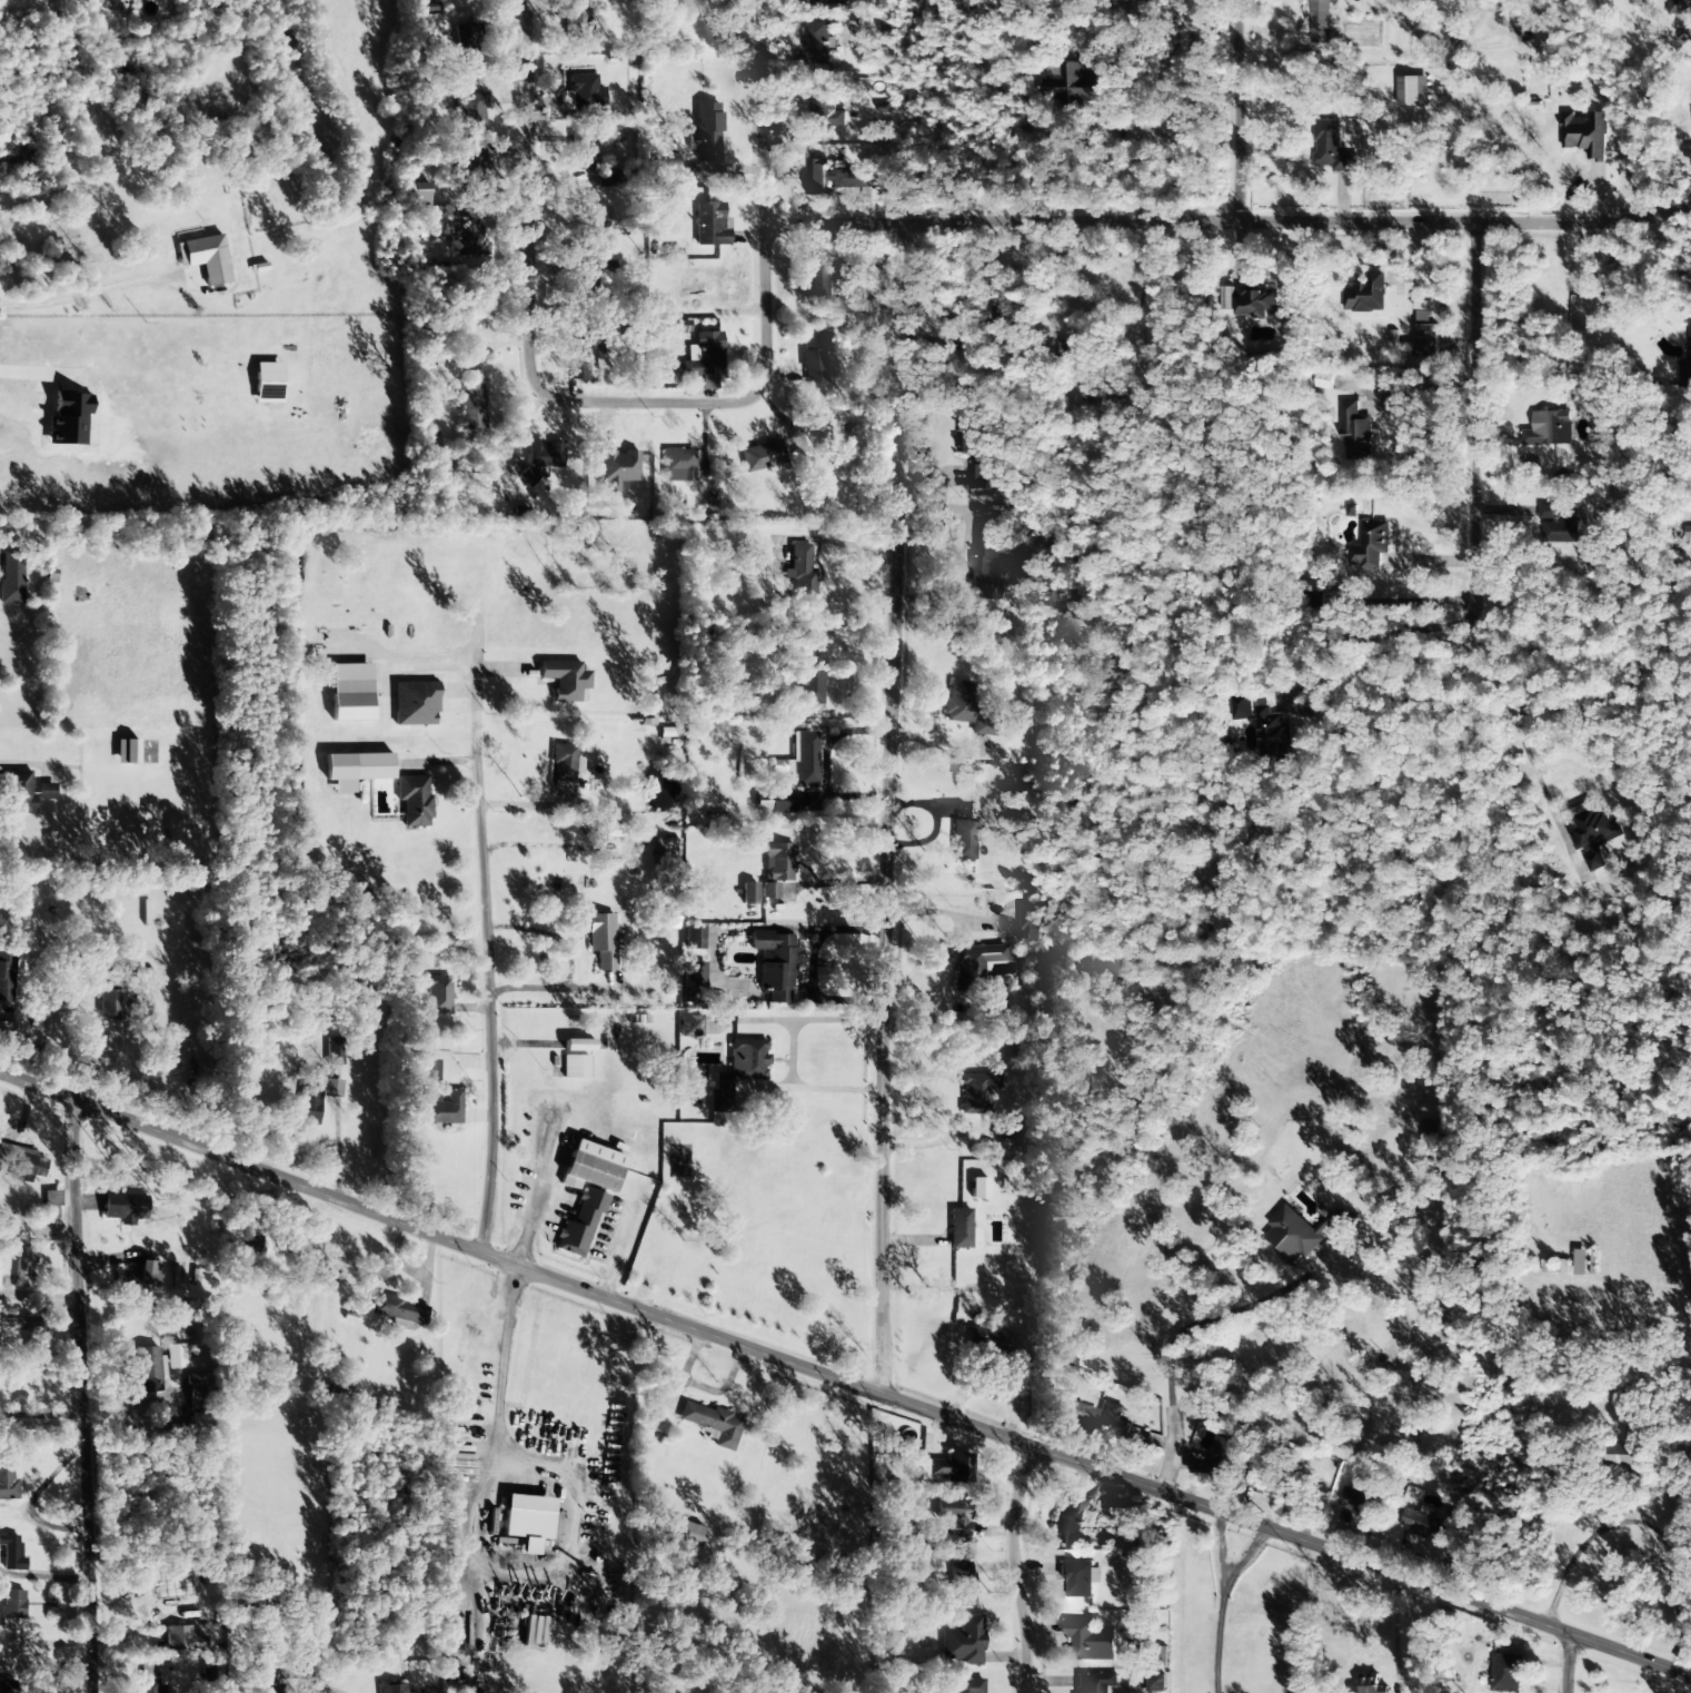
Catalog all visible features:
building: (118, 1)
building: (813, 2)
building: (1634, 2)
building: (1679, 7)
building: (1138, 8)
building: (1320, 23)
building: (577, 26)
building: (816, 43)
building: (467, 44)
building: (1073, 87)
building: (1412, 91)
building: (825, 109)
road: (1266, 109)
building: (470, 113)
road: (756, 113)
building: (706, 132)
building: (1584, 135)
building: (1331, 148)
building: (581, 152)
building: (667, 165)
building: (471, 169)
building: (817, 177)
building: (607, 179)
building: (852, 179)
road: (1226, 218)
building: (710, 225)
building: (205, 258)
road: (93, 291)
building: (1366, 295)
building: (1226, 298)
building: (1256, 301)
building: (1006, 310)
building: (675, 326)
building: (1423, 338)
building: (699, 357)
building: (813, 358)
building: (1685, 366)
building: (267, 383)
road: (530, 389)
building: (470, 402)
road: (1473, 407)
building: (69, 419)
building: (1549, 429)
building: (1355, 432)
building: (966, 436)
building: (544, 454)
building: (762, 456)
building: (677, 466)
building: (616, 468)
building: (527, 476)
building: (977, 476)
building: (1559, 522)
building: (1370, 545)
building: (985, 563)
building: (799, 575)
building: (11, 577)
building: (1314, 586)
building: (565, 680)
building: (808, 685)
building: (350, 692)
building: (957, 702)
building: (415, 703)
building: (1239, 707)
building: (984, 725)
building: (1271, 734)
building: (126, 751)
building: (805, 761)
building: (564, 763)
building: (358, 766)
building: (20, 790)
building: (44, 791)
building: (414, 801)
building: (773, 802)
road: (892, 808)
building: (609, 831)
building: (1595, 834)
building: (962, 840)
building: (664, 849)
building: (776, 867)
building: (748, 893)
building: (1028, 922)
building: (694, 938)
building: (603, 940)
road: (485, 957)
building: (774, 964)
building: (972, 964)
building: (7, 973)
building: (693, 981)
building: (437, 994)
building: (109, 1003)
building: (688, 1026)
building: (578, 1044)
building: (335, 1052)
road: (792, 1055)
building: (575, 1067)
building: (429, 1070)
building: (738, 1071)
building: (697, 1072)
building: (332, 1088)
building: (976, 1092)
building: (306, 1106)
building: (438, 1108)
building: (1004, 1130)
building: (1431, 1136)
building: (26, 1166)
building: (591, 1167)
building: (977, 1188)
building: (51, 1198)
building: (122, 1208)
building: (580, 1222)
building: (961, 1229)
building: (1305, 1232)
building: (248, 1242)
building: (1581, 1263)
building: (22, 1266)
building: (1554, 1266)
building: (145, 1275)
building: (397, 1309)
road: (1178, 1331)
building: (991, 1338)
building: (173, 1356)
building: (149, 1369)
road: (842, 1383)
road: (54, 1392)
building: (1074, 1413)
building: (1112, 1420)
building: (712, 1424)
building: (1625, 1452)
building: (1224, 1454)
building: (949, 1468)
building: (7, 1483)
building: (1294, 1489)
building: (1357, 1501)
building: (1122, 1506)
building: (953, 1516)
building: (1068, 1522)
building: (526, 1524)
building: (1423, 1524)
building: (685, 1533)
building: (11, 1553)
road: (1011, 1567)
building: (163, 1575)
building: (1078, 1578)
building: (961, 1584)
building: (11, 1608)
building: (185, 1638)
building: (963, 1642)
building: (1090, 1642)
road: (1556, 1661)
building: (1505, 1673)
building: (266, 1674)
building: (149, 1677)
building: (1095, 1683)
building: (1155, 1683)
building: (967, 1685)
building: (7, 1686)
building: (1370, 1686)
building: (391, 1687)

